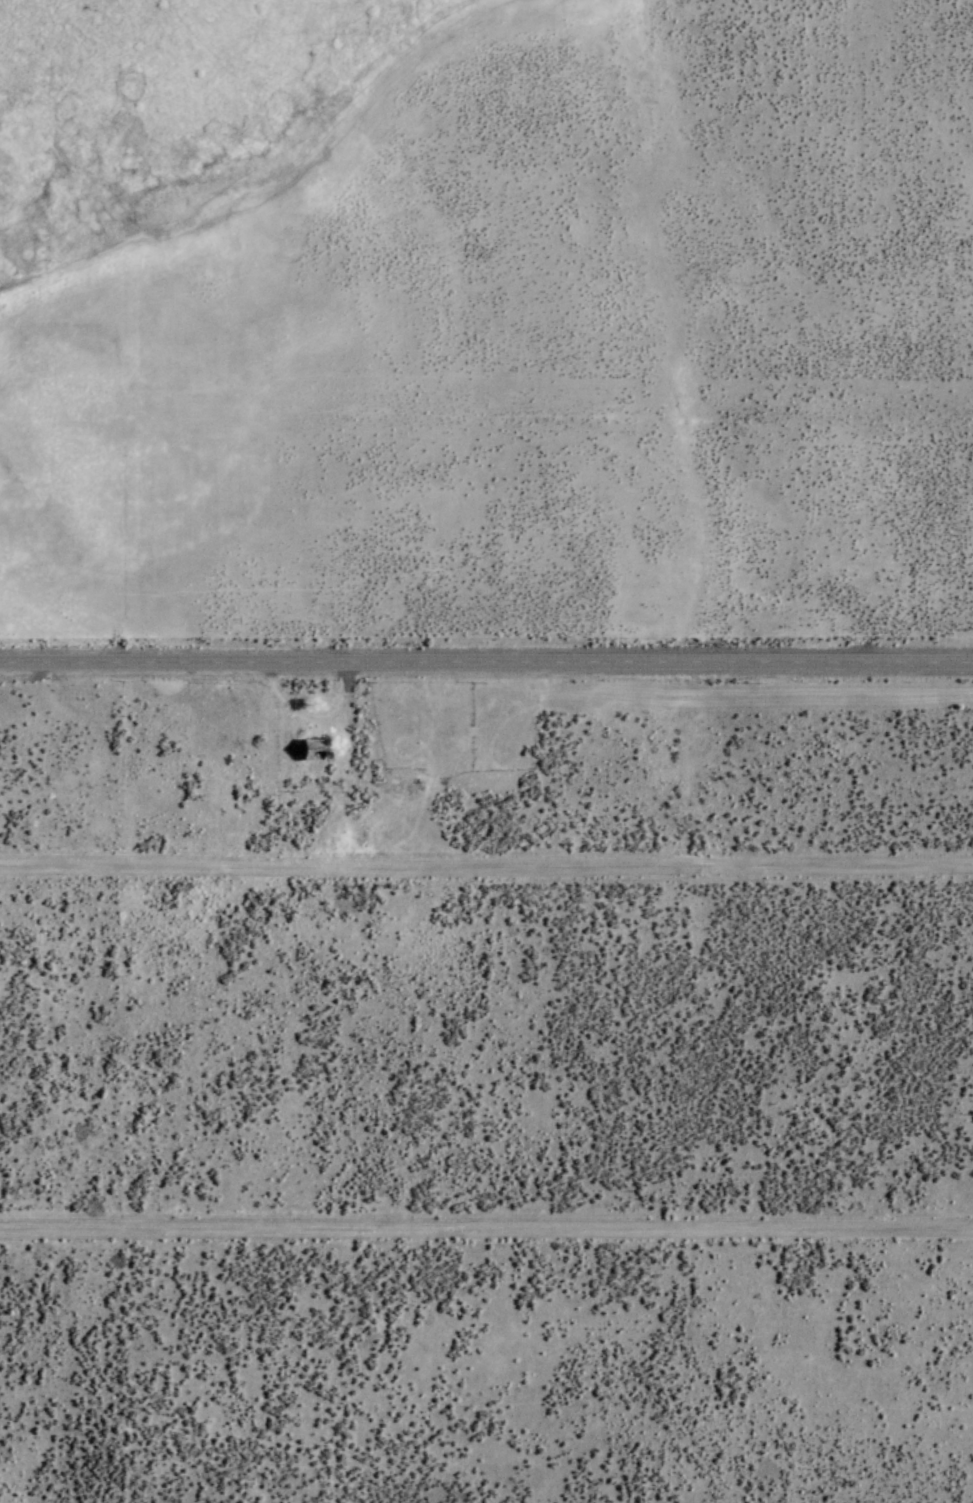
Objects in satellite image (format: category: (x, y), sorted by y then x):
road: (486, 664)
road: (486, 868)
road: (486, 1231)

